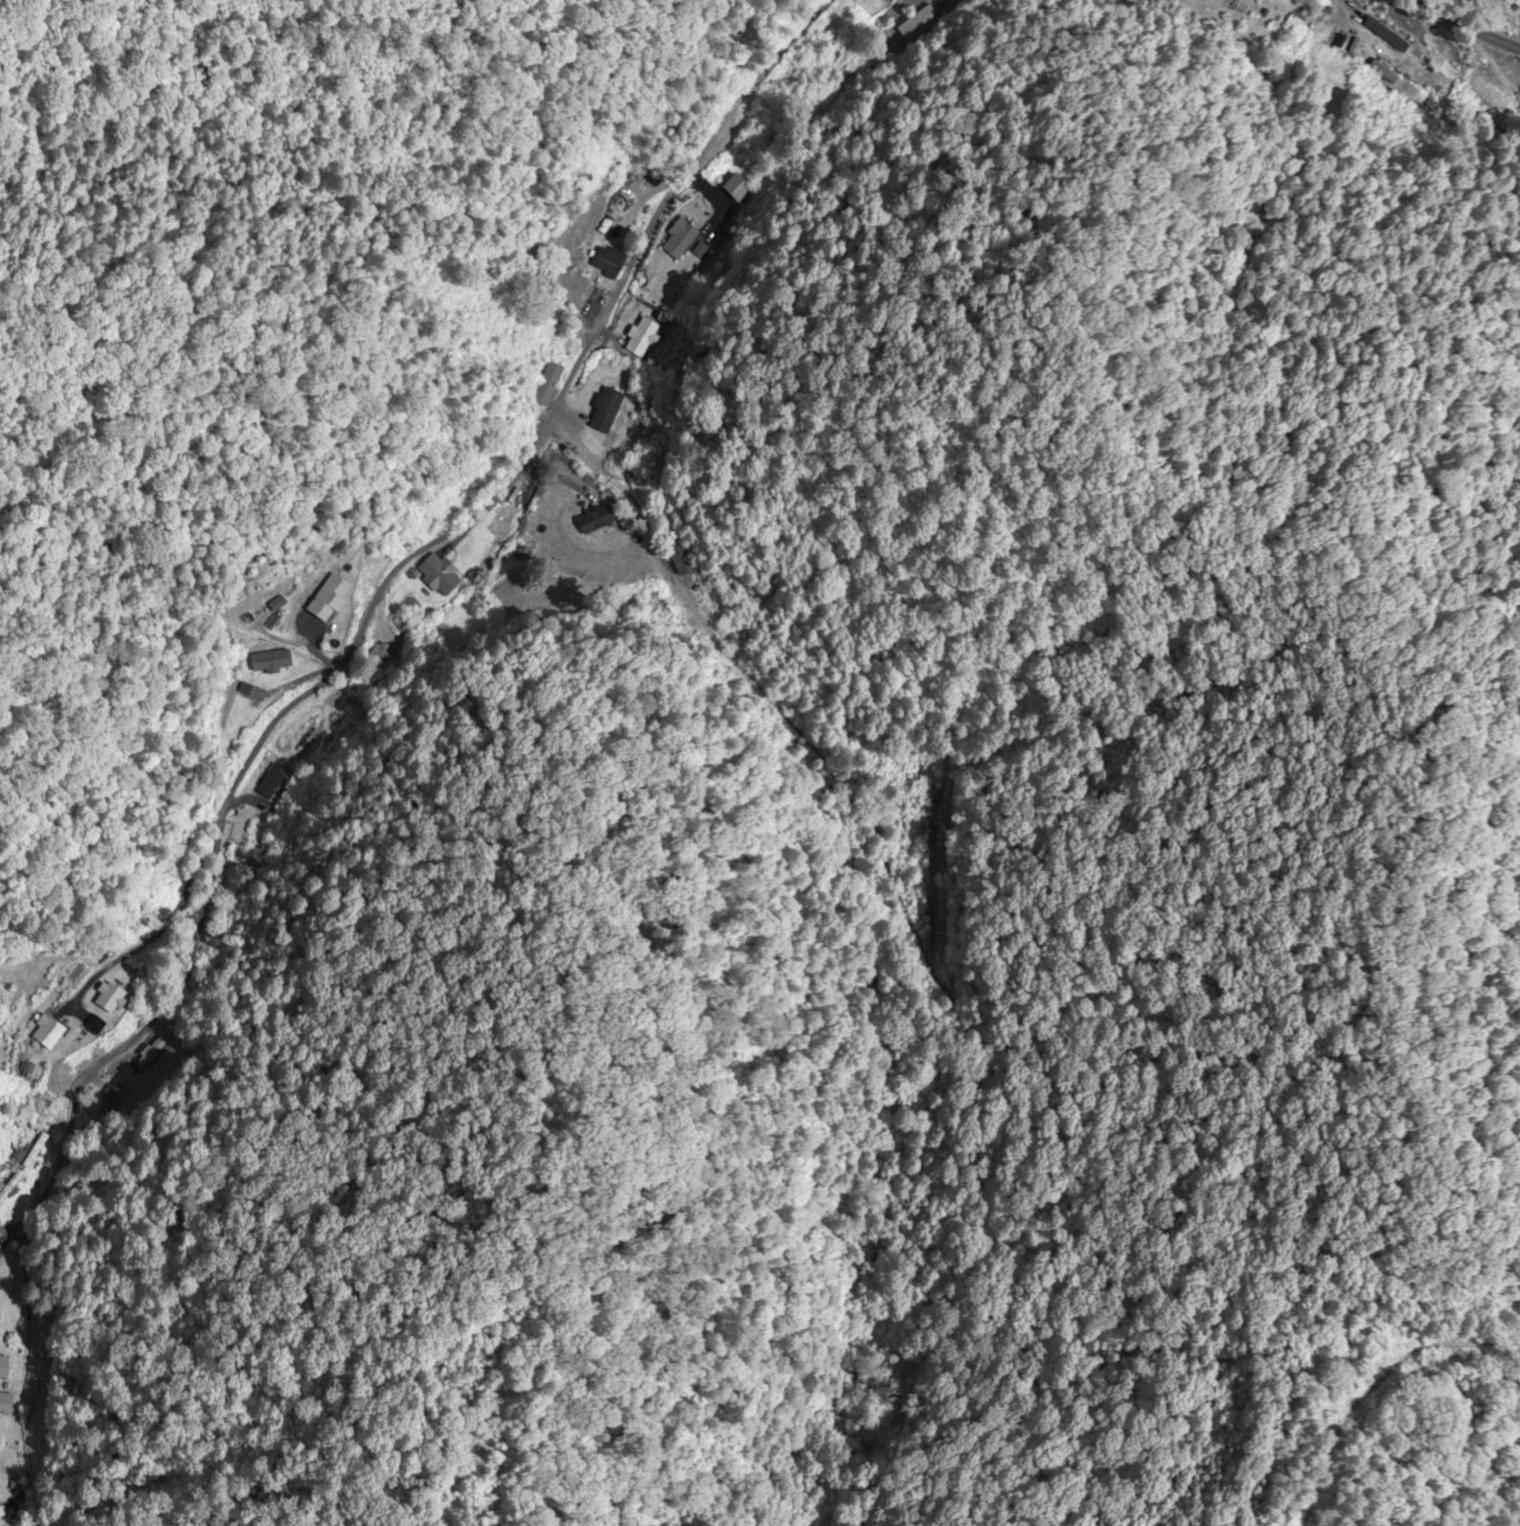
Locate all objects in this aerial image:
building: (1483, 4)
road: (1466, 25)
building: (680, 239)
building: (610, 261)
building: (638, 341)
building: (550, 383)
building: (607, 410)
building: (599, 519)
road: (377, 544)
building: (681, 560)
building: (329, 593)
building: (274, 660)
building: (112, 998)
building: (52, 1031)
building: (9, 1187)
building: (5, 1365)
building: (6, 1403)

